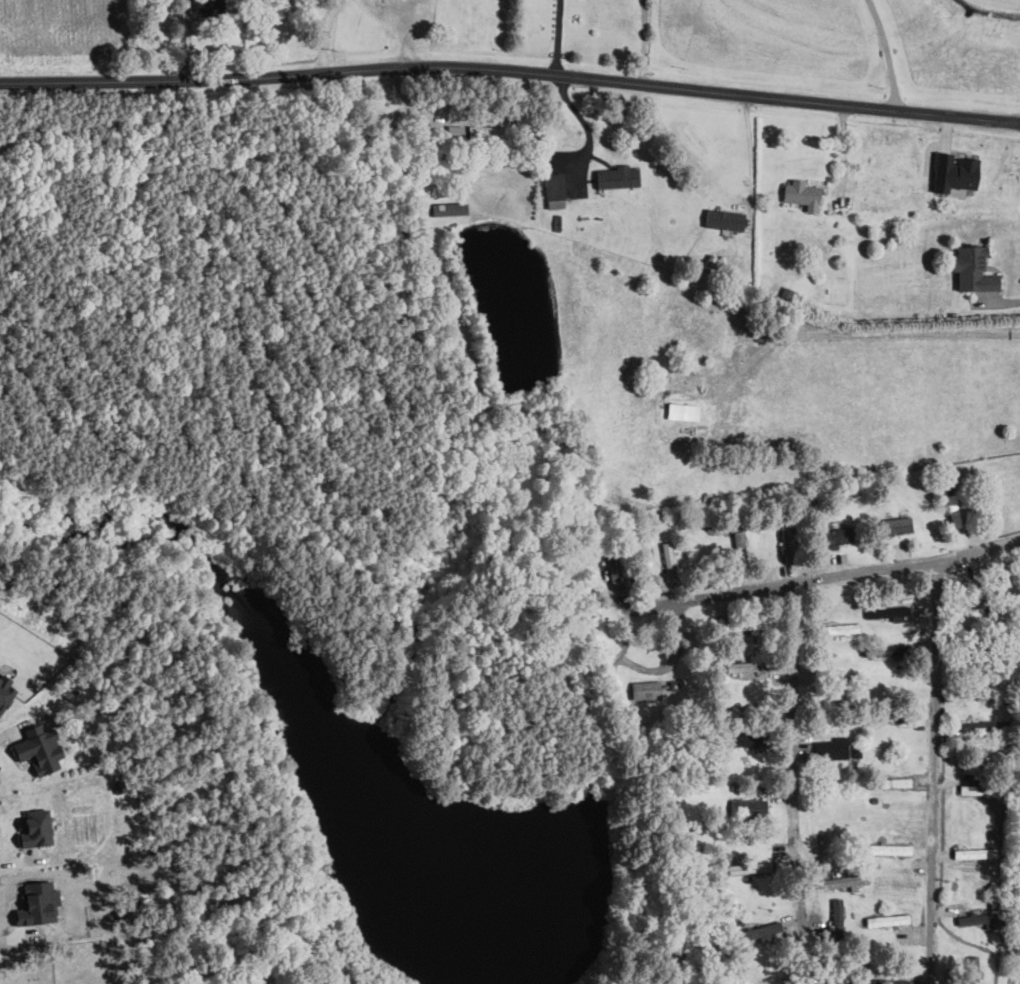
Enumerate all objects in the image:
building: (210, 5)
road: (558, 37)
road: (641, 41)
road: (888, 54)
road: (511, 68)
building: (455, 130)
building: (488, 132)
road: (751, 150)
building: (954, 172)
building: (618, 177)
building: (555, 190)
building: (802, 194)
building: (449, 208)
building: (725, 219)
building: (972, 268)
road: (853, 335)
building: (683, 410)
building: (895, 524)
building: (836, 535)
building: (669, 560)
building: (617, 572)
road: (841, 576)
building: (889, 611)
building: (839, 628)
building: (892, 650)
building: (747, 666)
building: (646, 690)
building: (5, 692)
building: (985, 726)
building: (747, 739)
building: (39, 748)
building: (833, 748)
road: (939, 774)
road: (795, 783)
building: (967, 789)
building: (748, 807)
building: (36, 827)
building: (890, 849)
building: (975, 853)
road: (16, 862)
building: (749, 867)
building: (845, 881)
building: (837, 918)
building: (888, 919)
building: (979, 919)
building: (759, 931)
building: (892, 981)
building: (823, 983)

